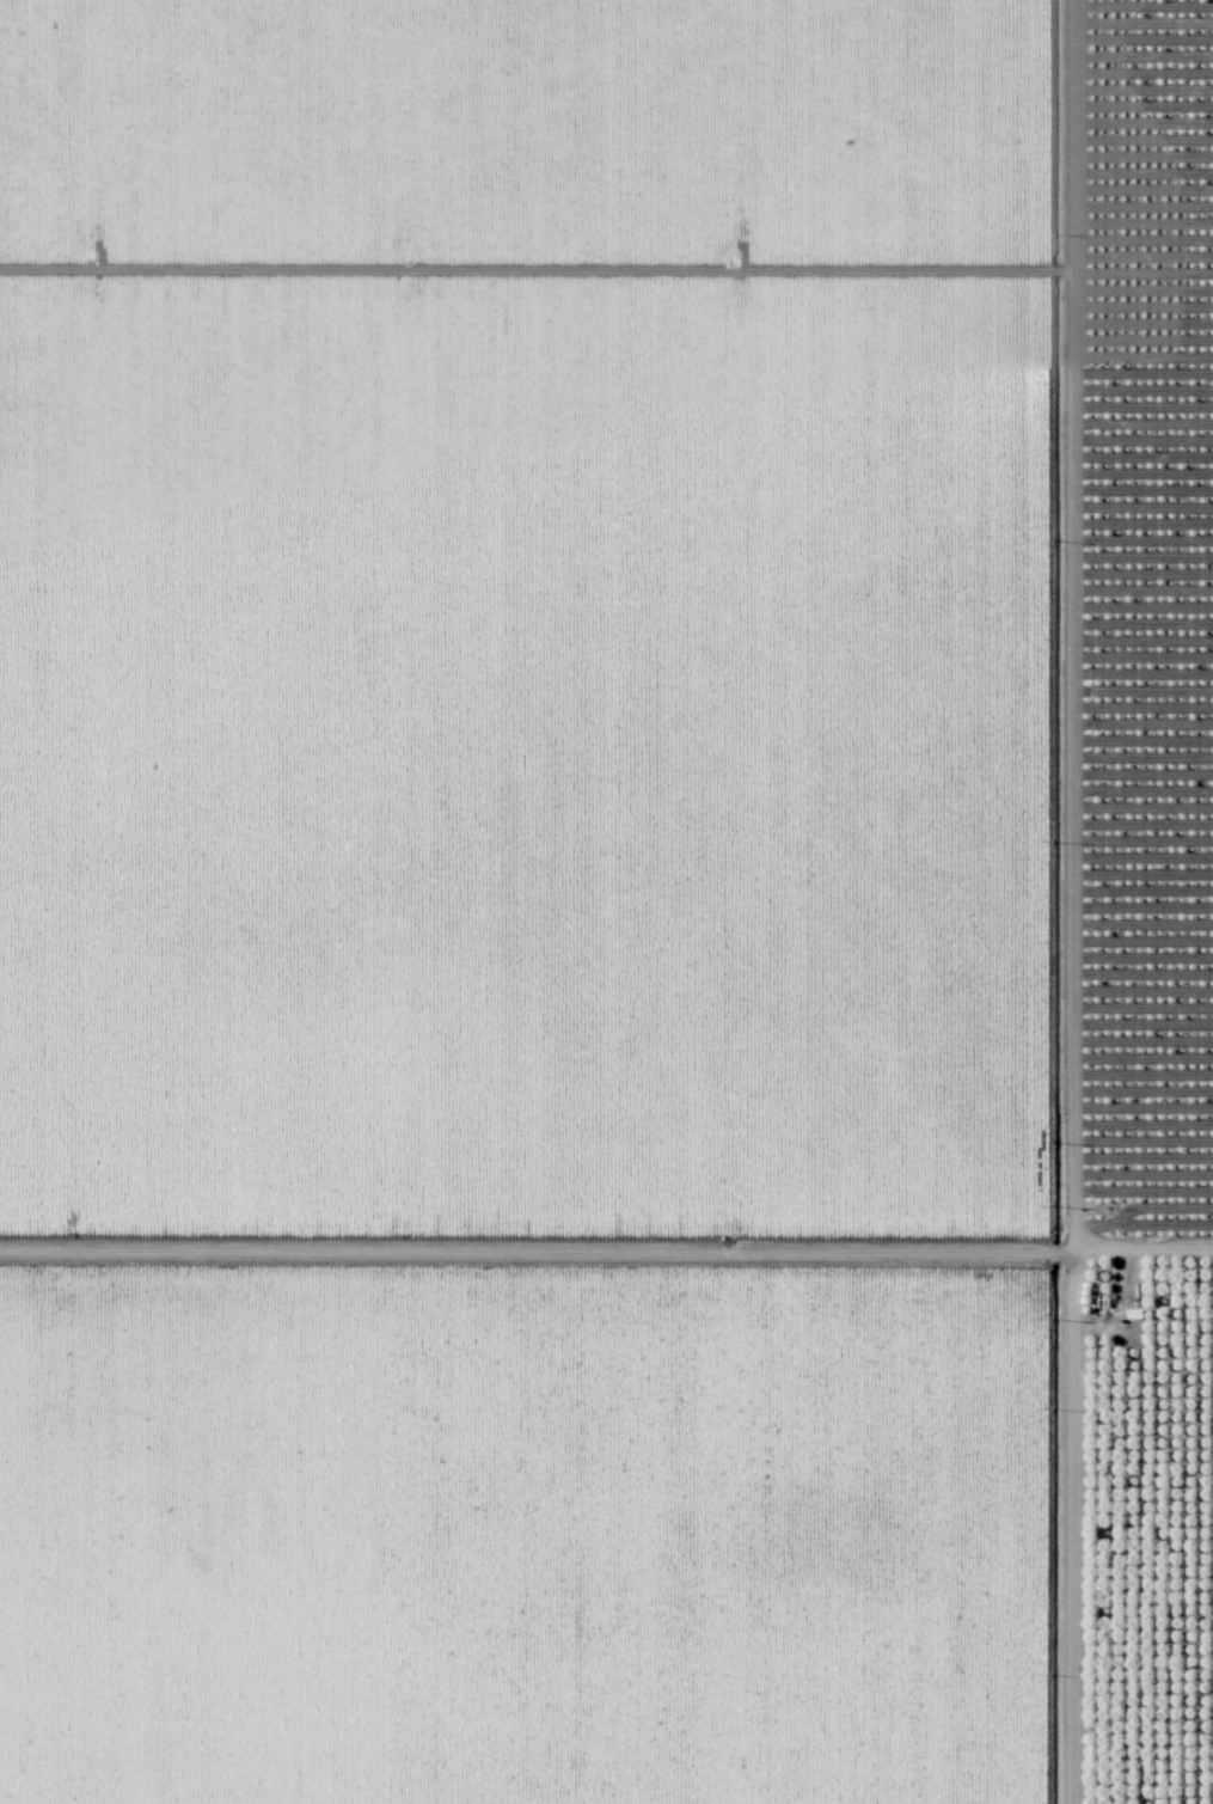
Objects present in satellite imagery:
crop: (539, 618)
road: (1034, 901)
crop: (527, 1253)
road: (606, 1264)
crop: (529, 1533)

